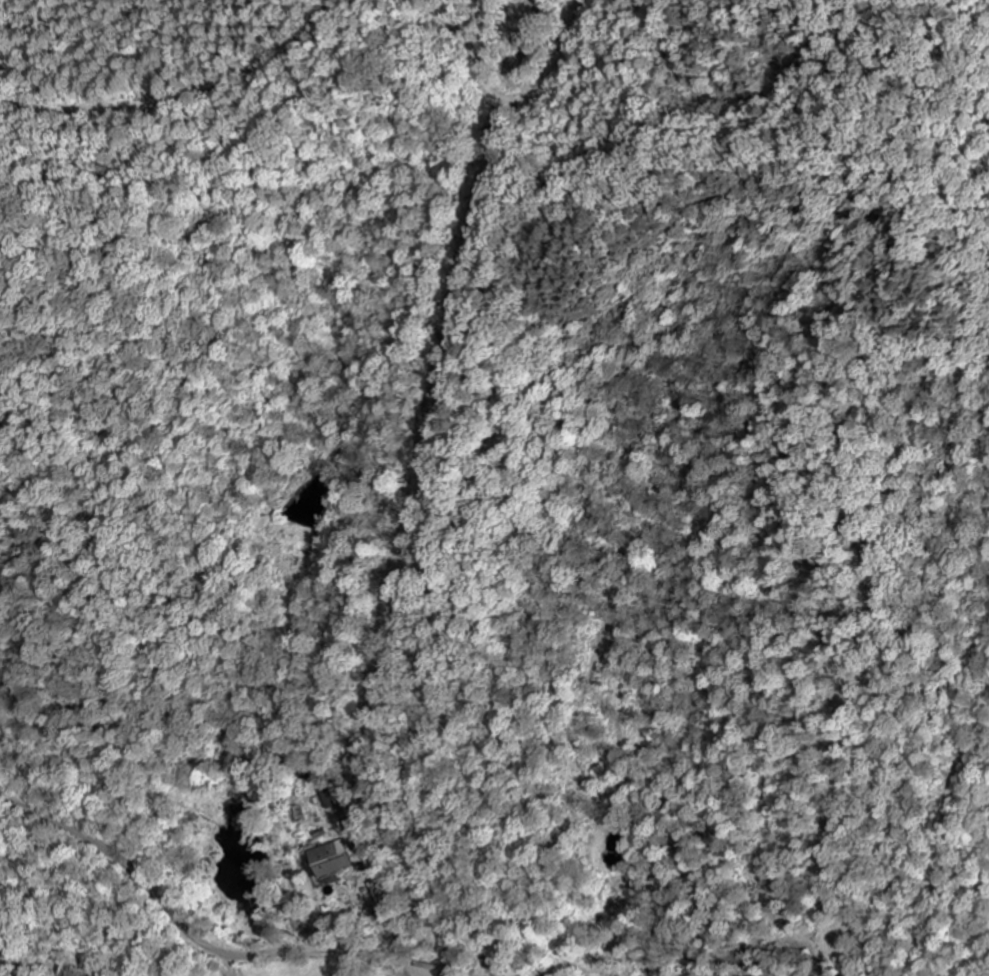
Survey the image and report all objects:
road: (940, 832)
building: (333, 858)
road: (201, 950)

